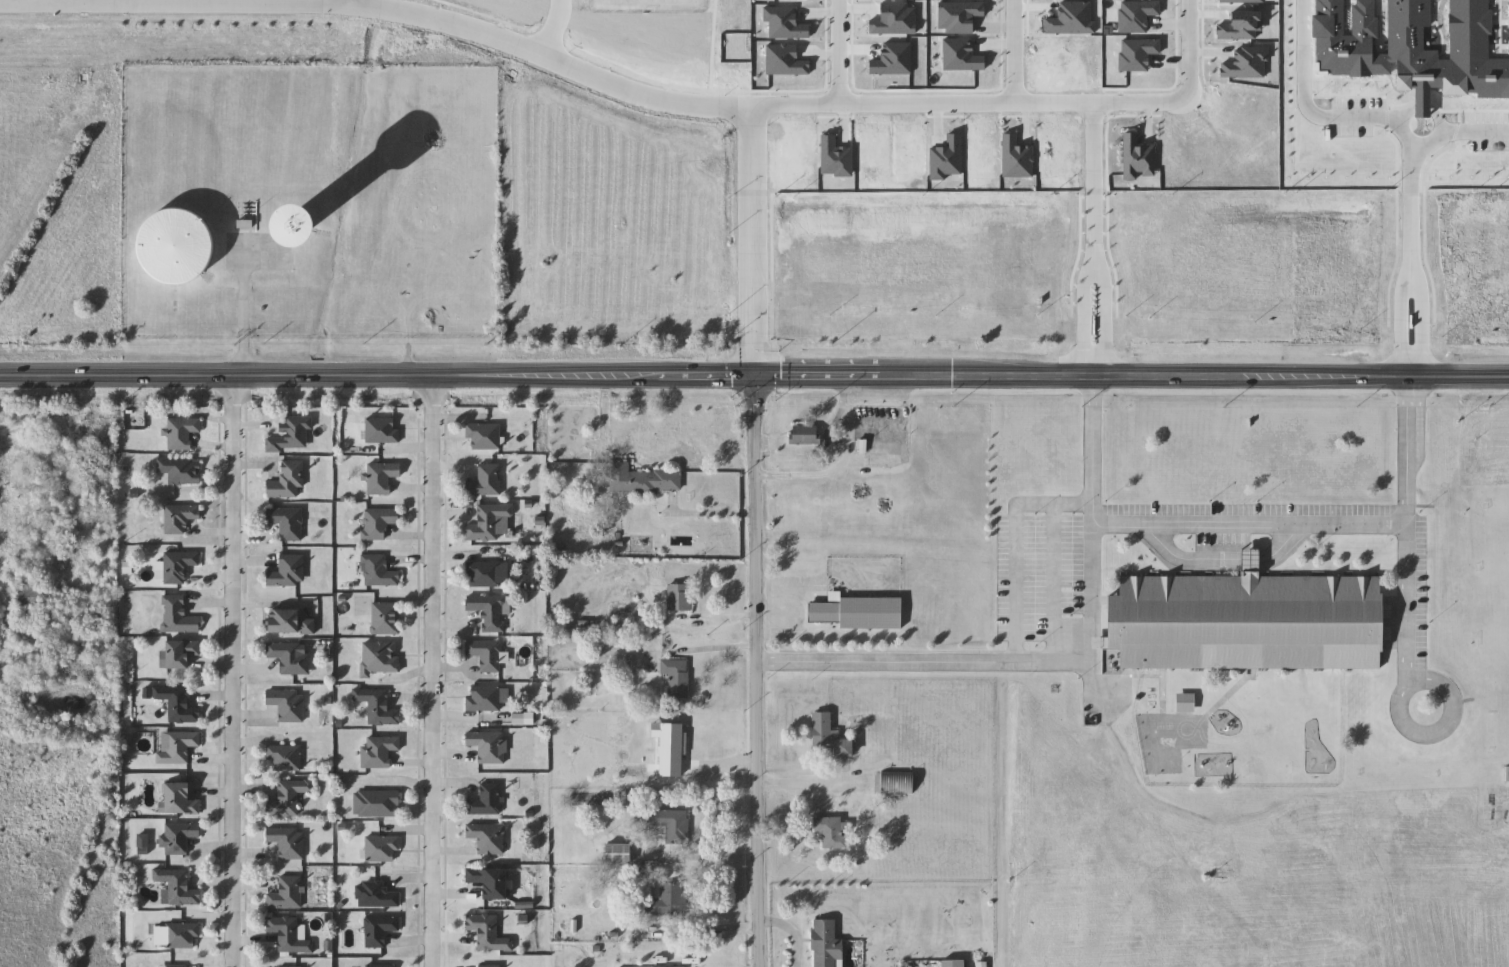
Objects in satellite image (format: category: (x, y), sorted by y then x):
road: (349, 2)
road: (383, 9)
road: (550, 27)
park: (631, 30)
road: (1185, 50)
road: (1010, 51)
road: (833, 52)
building: (1052, 56)
road: (968, 102)
road: (1356, 117)
building: (1059, 131)
road: (1089, 175)
water tower: (299, 209)
building: (1078, 212)
road: (749, 241)
building: (172, 245)
road: (1408, 260)
building: (481, 279)
road: (242, 304)
building: (456, 311)
building: (483, 312)
road: (1102, 313)
road: (1080, 315)
traffic signals: (748, 376)
road: (754, 376)
building: (382, 431)
building: (182, 433)
building: (290, 435)
building: (804, 435)
building: (484, 437)
road: (1094, 440)
building: (882, 459)
road: (836, 466)
building: (181, 470)
building: (381, 477)
building: (644, 480)
building: (486, 481)
building: (288, 482)
road: (707, 512)
road: (1094, 512)
building: (179, 519)
building: (286, 522)
building: (378, 522)
building: (488, 522)
road: (1094, 532)
road: (1289, 541)
road: (1016, 542)
road: (1178, 557)
road: (1252, 559)
building: (178, 567)
building: (377, 571)
building: (288, 572)
building: (484, 574)
building: (29, 597)
building: (679, 597)
road: (1406, 603)
building: (489, 611)
building: (860, 612)
building: (178, 617)
building: (385, 618)
building: (1244, 621)
building: (290, 622)
building: (179, 654)
building: (486, 654)
building: (290, 657)
building: (379, 658)
road: (232, 671)
road: (429, 671)
road: (749, 671)
building: (676, 677)
building: (483, 699)
building: (177, 704)
building: (287, 704)
building: (377, 706)
building: (823, 729)
road: (1437, 731)
building: (488, 746)
building: (176, 747)
building: (846, 747)
building: (378, 751)
building: (284, 759)
building: (1508, 774)
building: (899, 783)
building: (289, 797)
building: (181, 799)
building: (486, 800)
building: (376, 804)
building: (671, 823)
building: (832, 832)
building: (178, 838)
building: (487, 838)
building: (287, 842)
building: (381, 848)
building: (619, 854)
building: (492, 882)
building: (177, 887)
building: (286, 894)
building: (376, 896)
building: (667, 900)
building: (379, 930)
building: (488, 932)
building: (181, 935)
building: (288, 935)
building: (827, 945)
building: (955, 963)
building: (174, 966)
building: (382, 966)
building: (490, 966)

